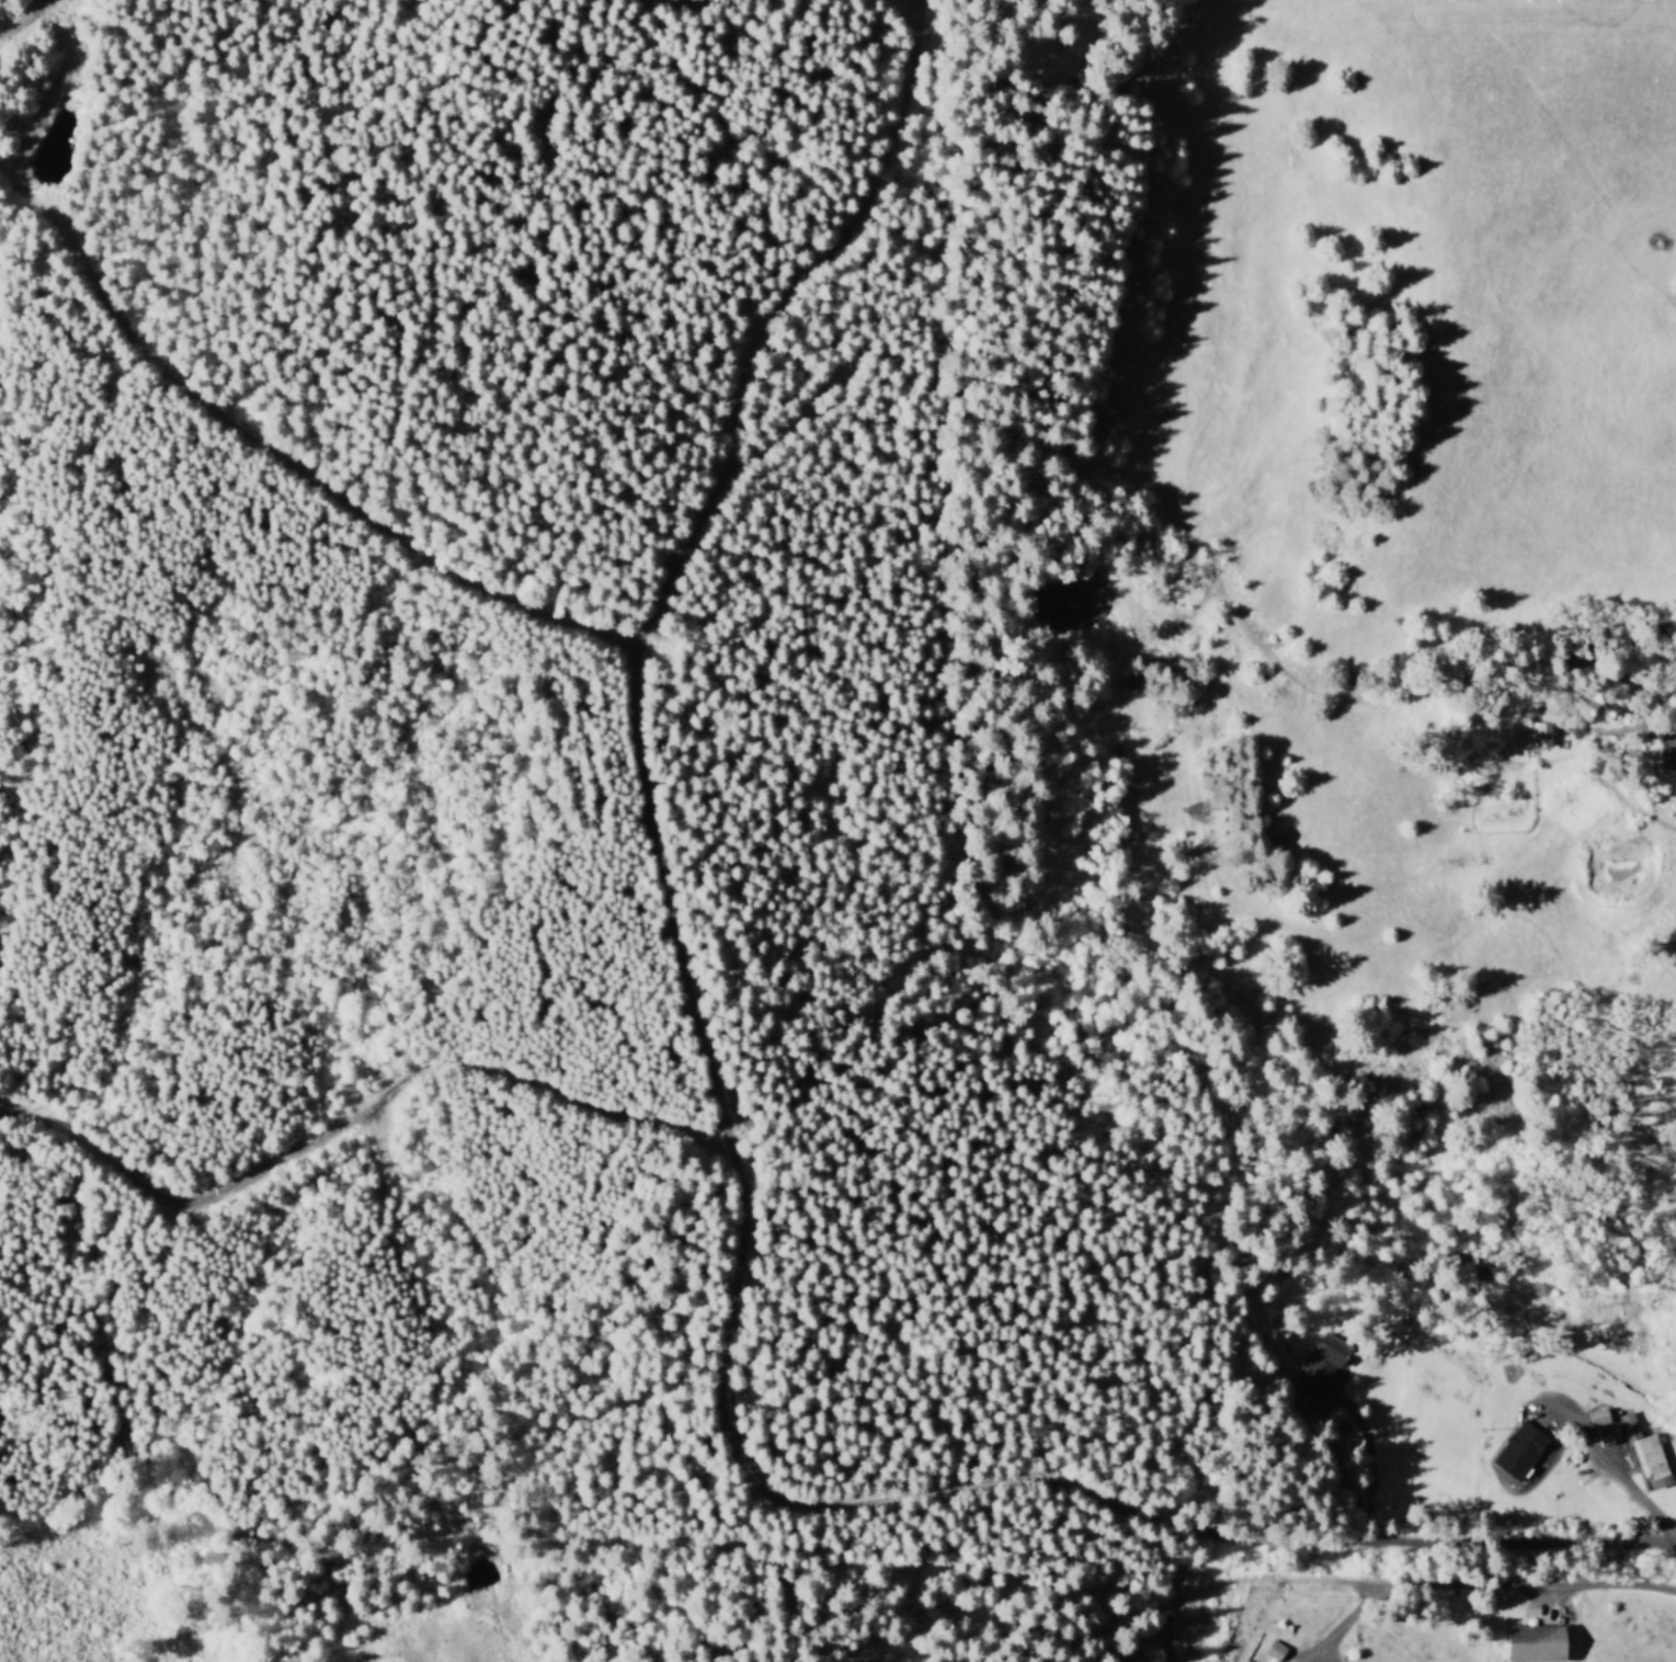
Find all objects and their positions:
road: (1674, 732)
building: (1536, 733)
building: (1664, 758)
building: (1311, 1364)
building: (1594, 1415)
building: (1601, 1433)
building: (1513, 1449)
building: (1643, 1452)
road: (1483, 1582)
building: (1529, 1642)
building: (1270, 1649)

